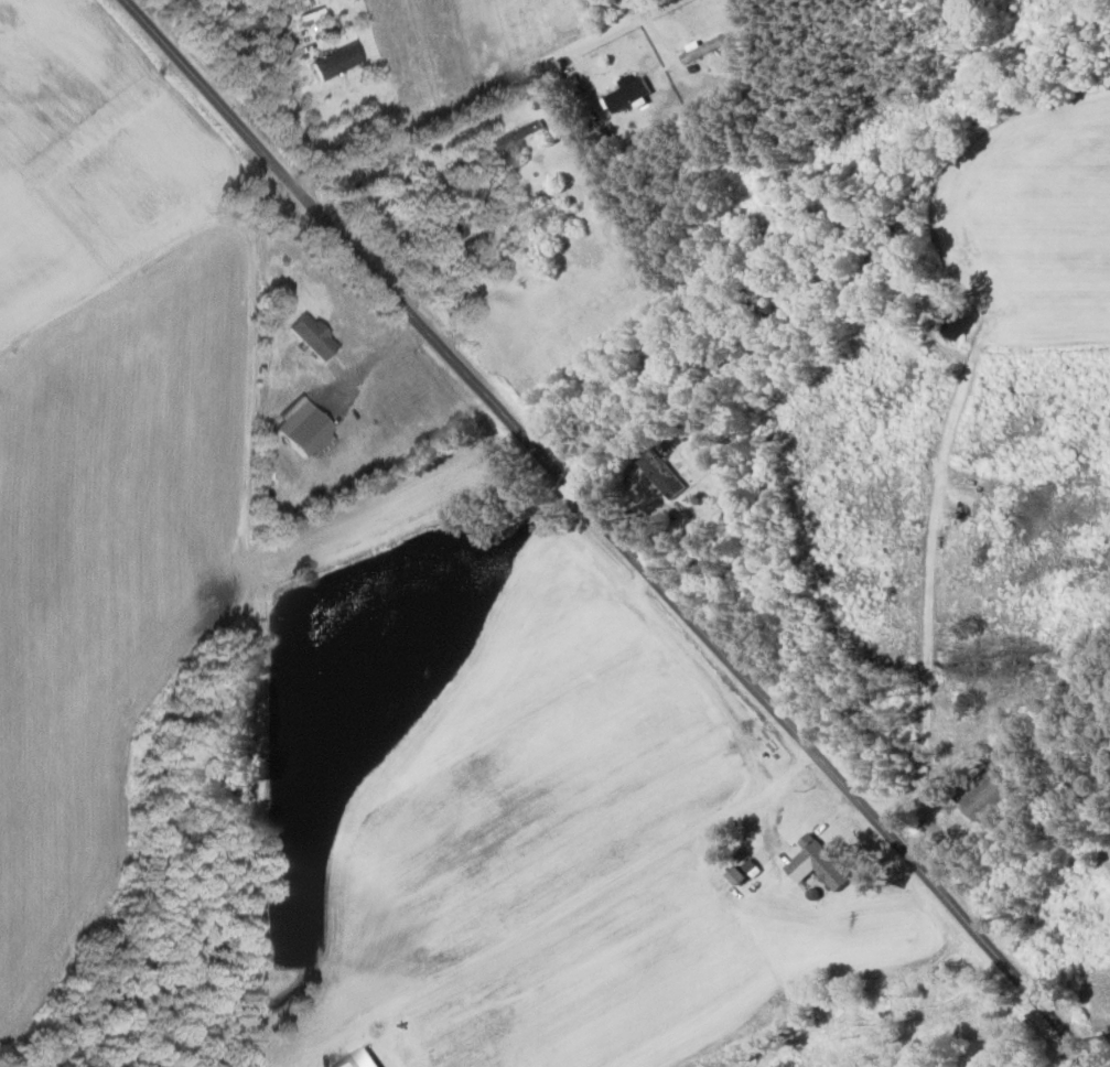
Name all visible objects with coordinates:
building: (293, 6)
building: (333, 61)
road: (279, 68)
building: (625, 93)
building: (516, 134)
road: (317, 172)
building: (311, 334)
road: (368, 358)
building: (660, 472)
road: (614, 532)
road: (927, 578)
building: (989, 791)
building: (817, 862)
building: (736, 874)

